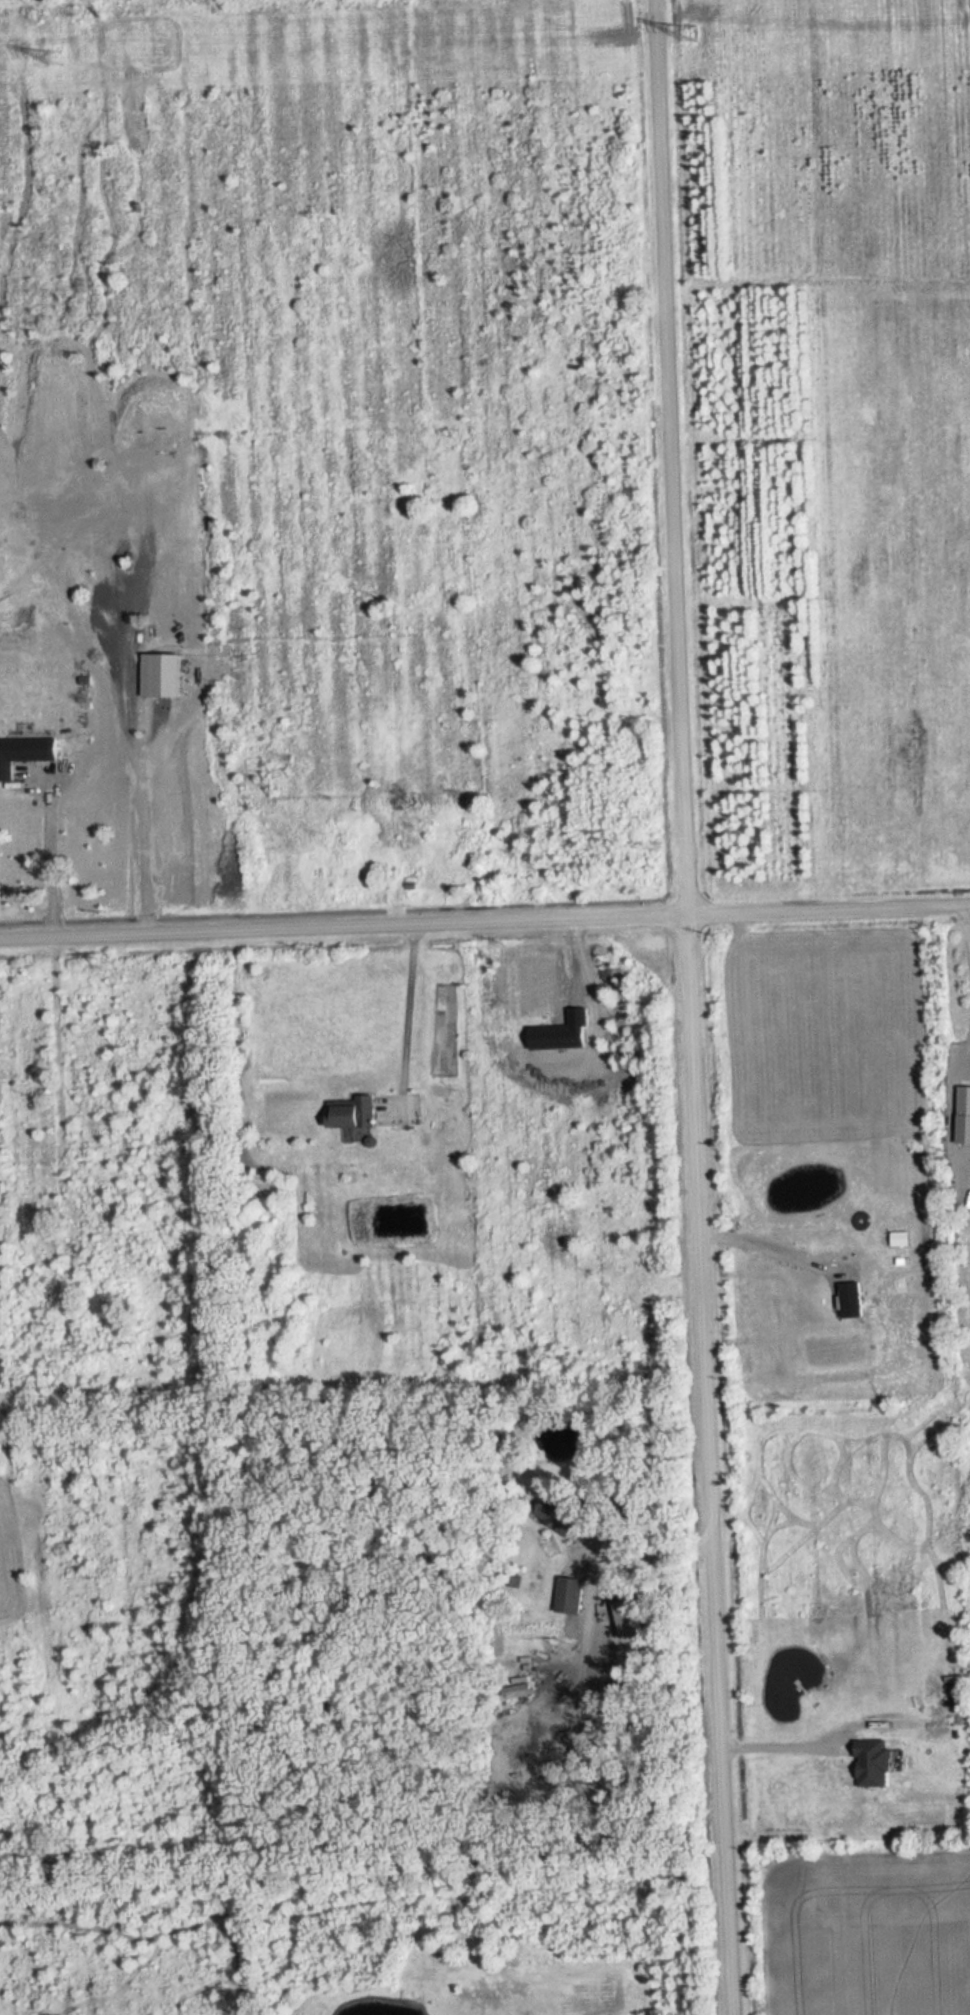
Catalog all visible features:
power tower: (691, 34)
power tower: (52, 57)
road: (143, 849)
road: (485, 923)
road: (966, 925)
road: (663, 1008)
road: (405, 1016)
building: (963, 1100)
building: (353, 1111)
road: (738, 1238)
building: (562, 1515)
road: (593, 1548)
building: (569, 1594)
road: (757, 1742)
building: (873, 1763)

